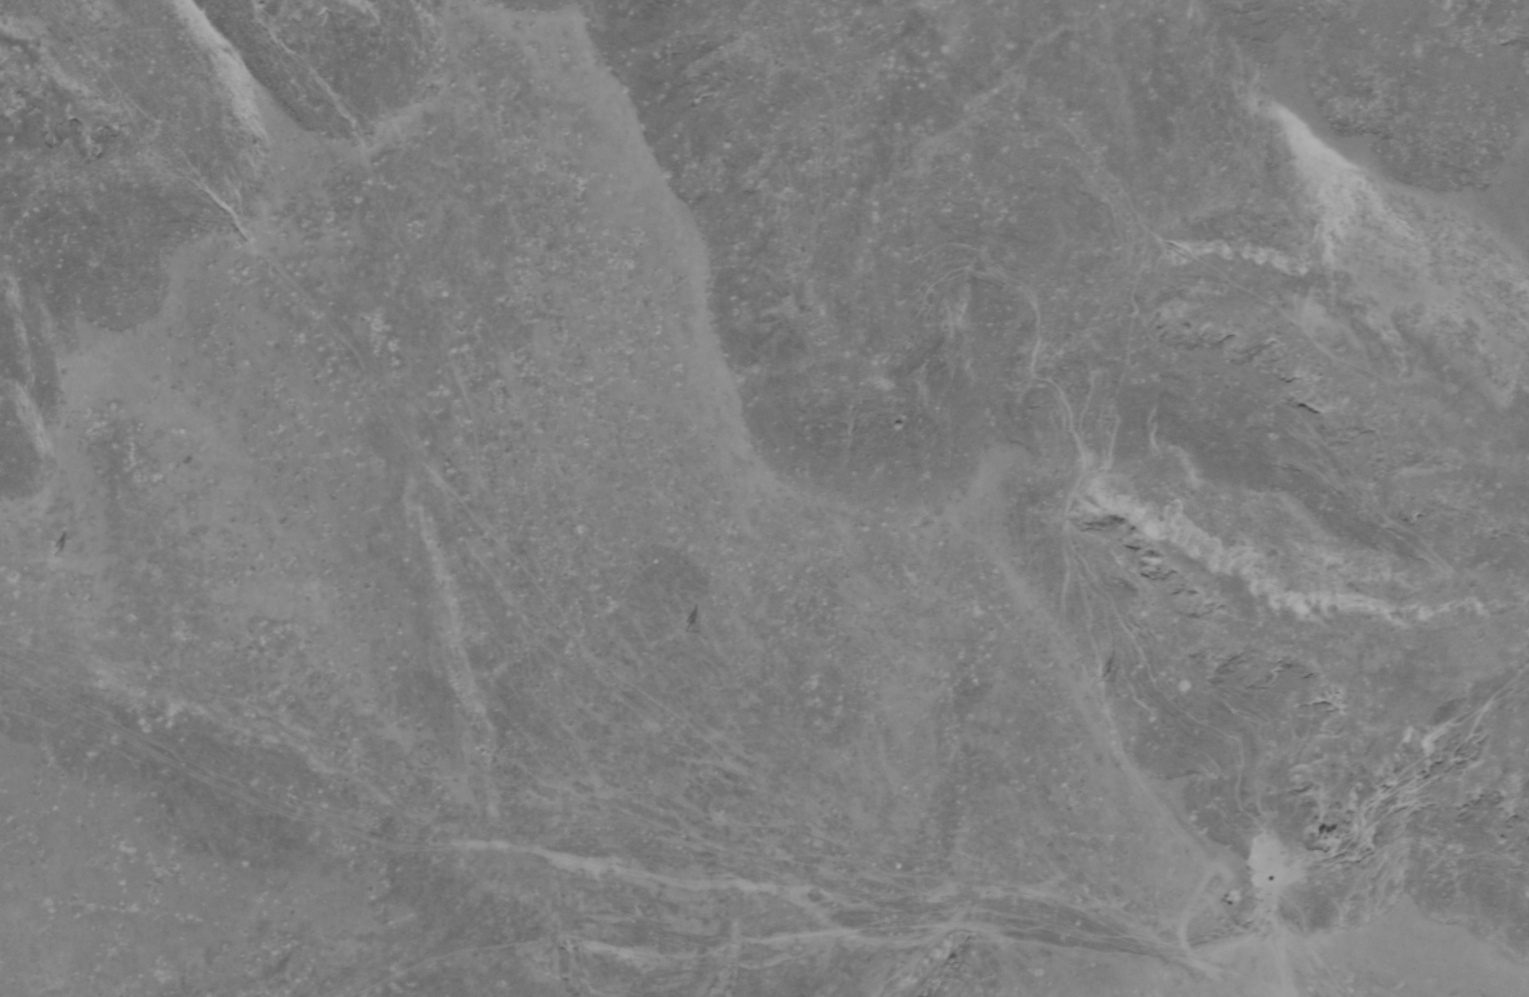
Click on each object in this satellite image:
power tower: (52, 552)
power tower: (682, 628)
power tower: (1094, 676)

